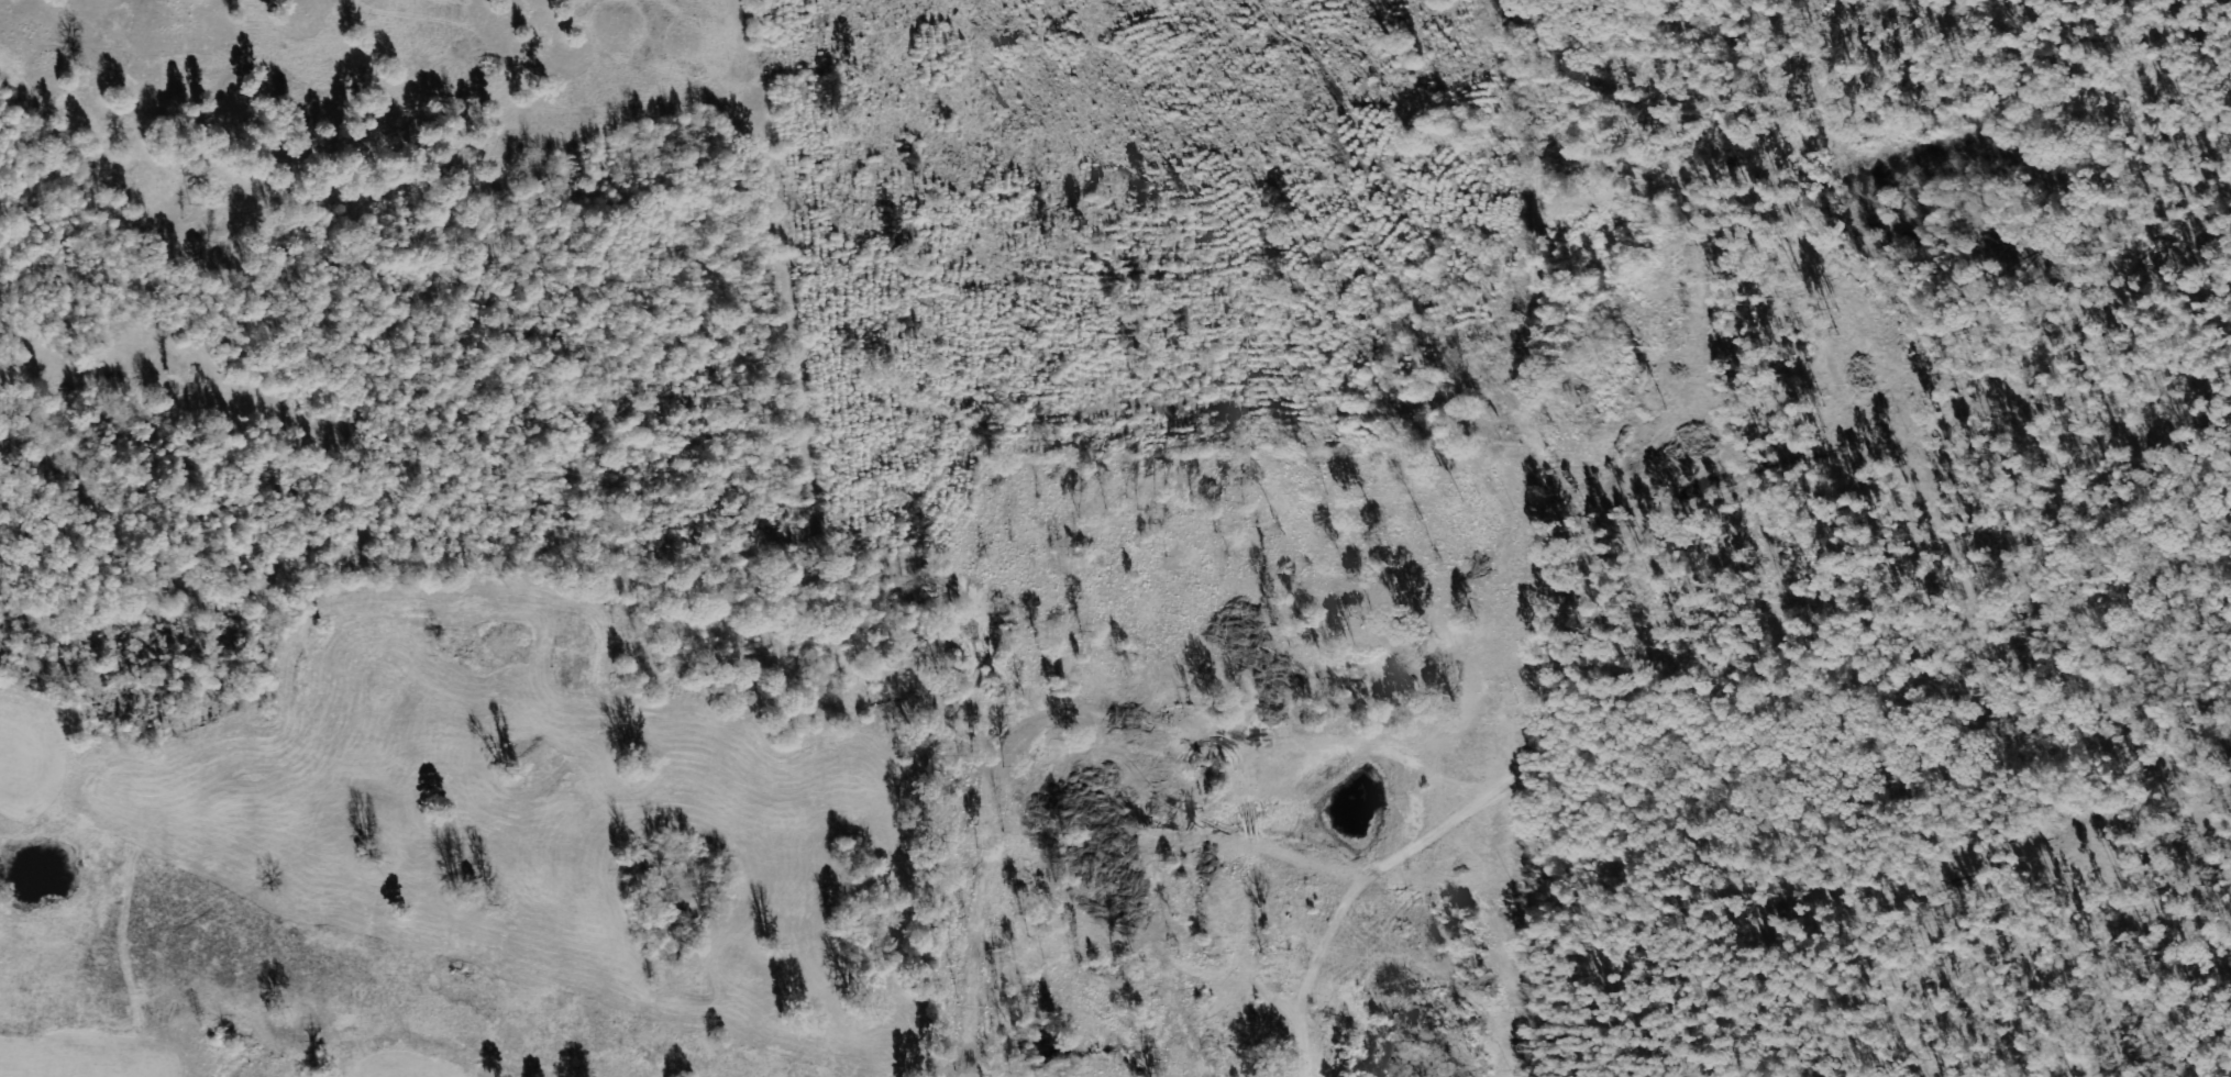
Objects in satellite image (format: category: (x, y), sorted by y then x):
road: (1536, 536)

